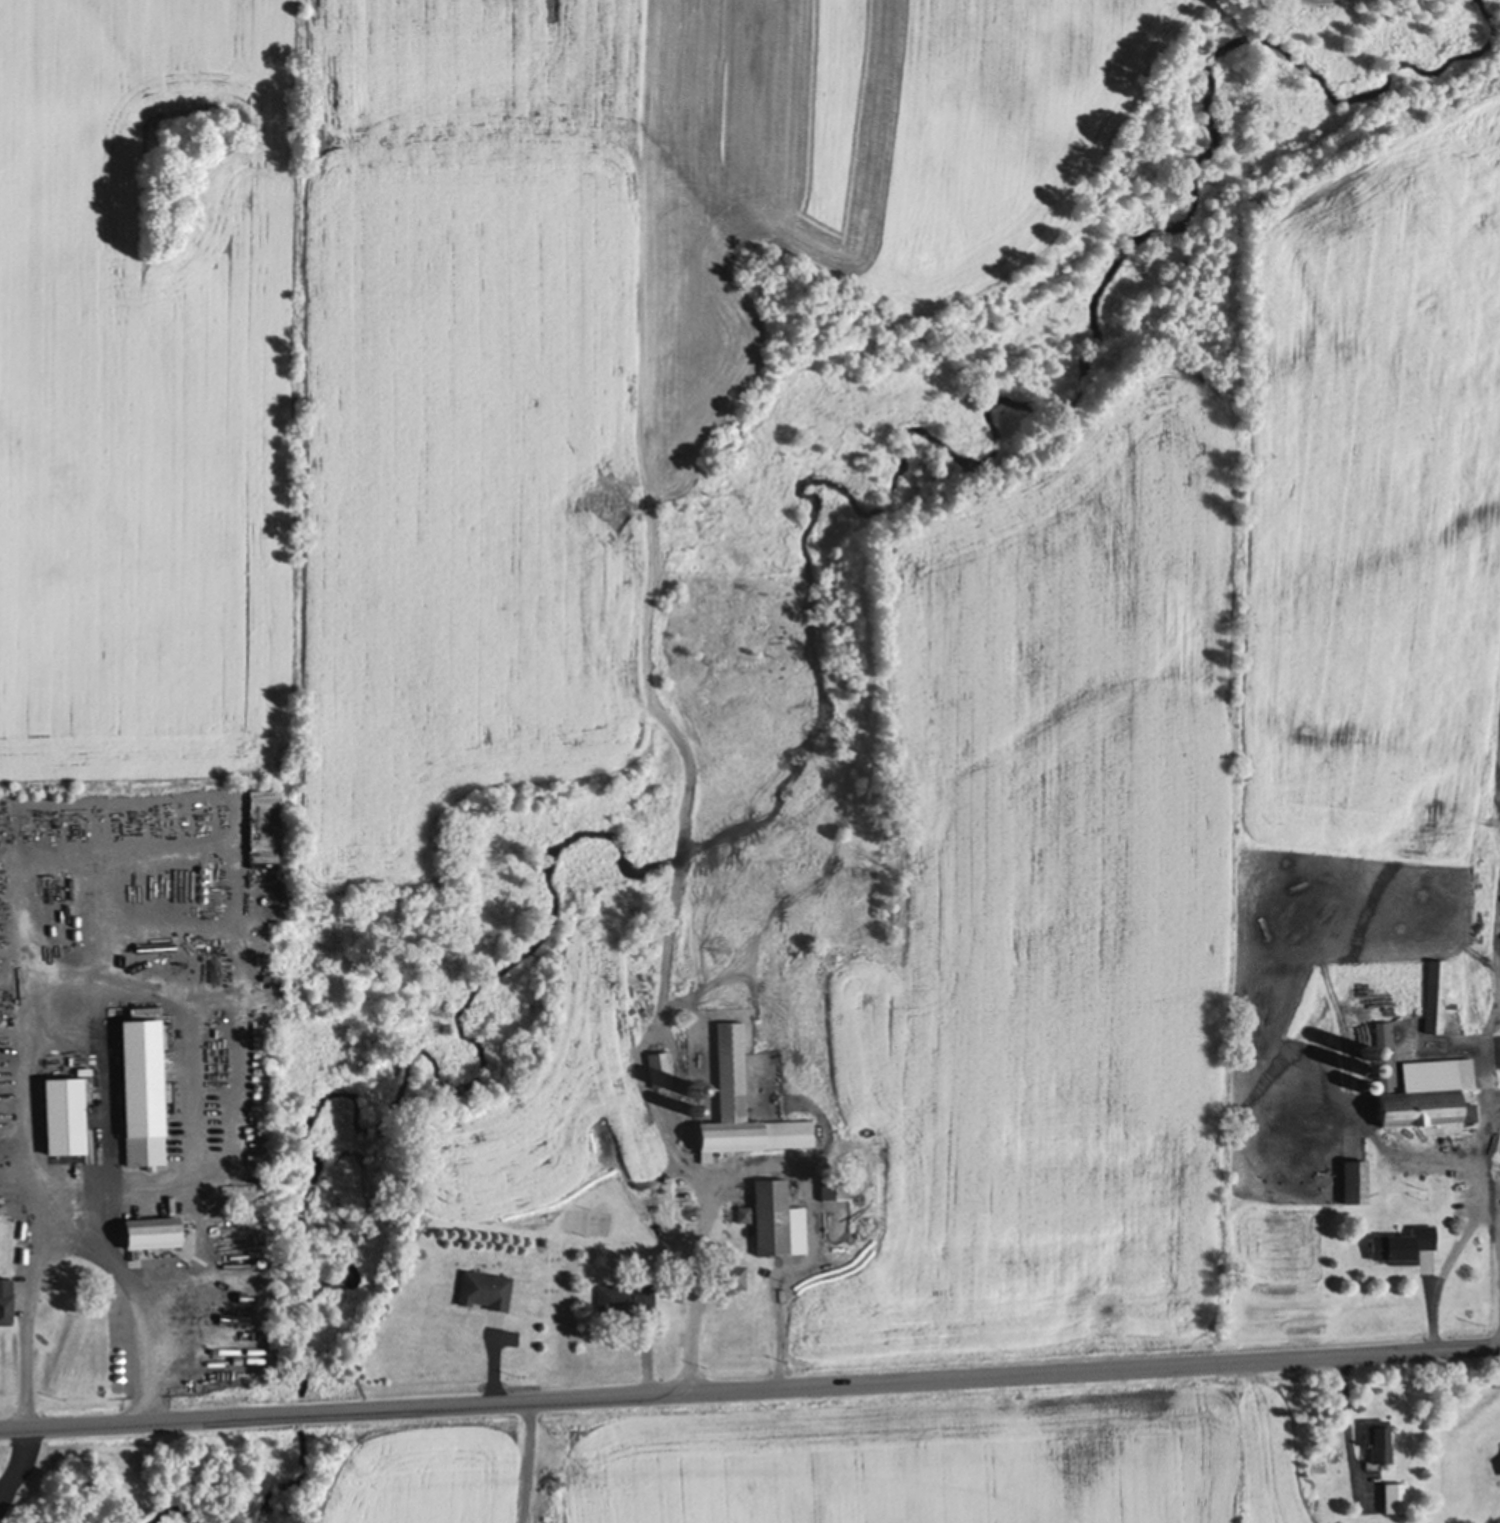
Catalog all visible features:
building: (264, 880)
building: (871, 966)
building: (855, 992)
building: (1438, 995)
building: (1369, 1050)
building: (668, 1077)
building: (1422, 1087)
building: (138, 1091)
building: (745, 1104)
building: (60, 1115)
building: (694, 1127)
road: (105, 1142)
building: (1357, 1180)
building: (832, 1187)
building: (1464, 1190)
building: (773, 1218)
road: (1493, 1219)
building: (152, 1235)
building: (1397, 1244)
road: (1460, 1244)
road: (43, 1254)
road: (700, 1256)
building: (727, 1277)
building: (486, 1291)
building: (628, 1296)
building: (6, 1299)
road: (647, 1363)
road: (494, 1368)
road: (750, 1386)
road: (1345, 1419)
building: (1378, 1438)
crop: (846, 1457)
road: (531, 1460)
building: (1397, 1496)

